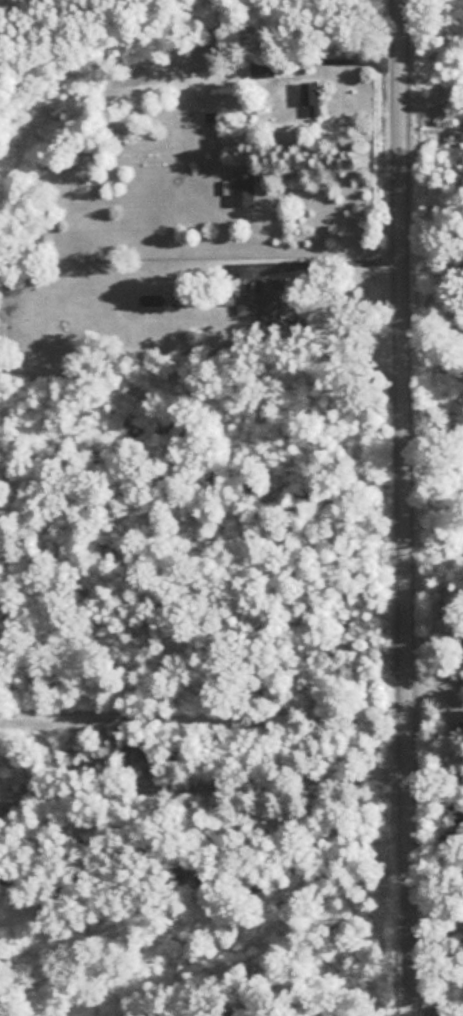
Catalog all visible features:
road: (343, 49)
building: (309, 95)
park: (434, 127)
building: (247, 188)
road: (328, 261)
building: (266, 301)
road: (435, 332)
road: (410, 502)
road: (205, 769)
park: (438, 894)
road: (410, 1011)

